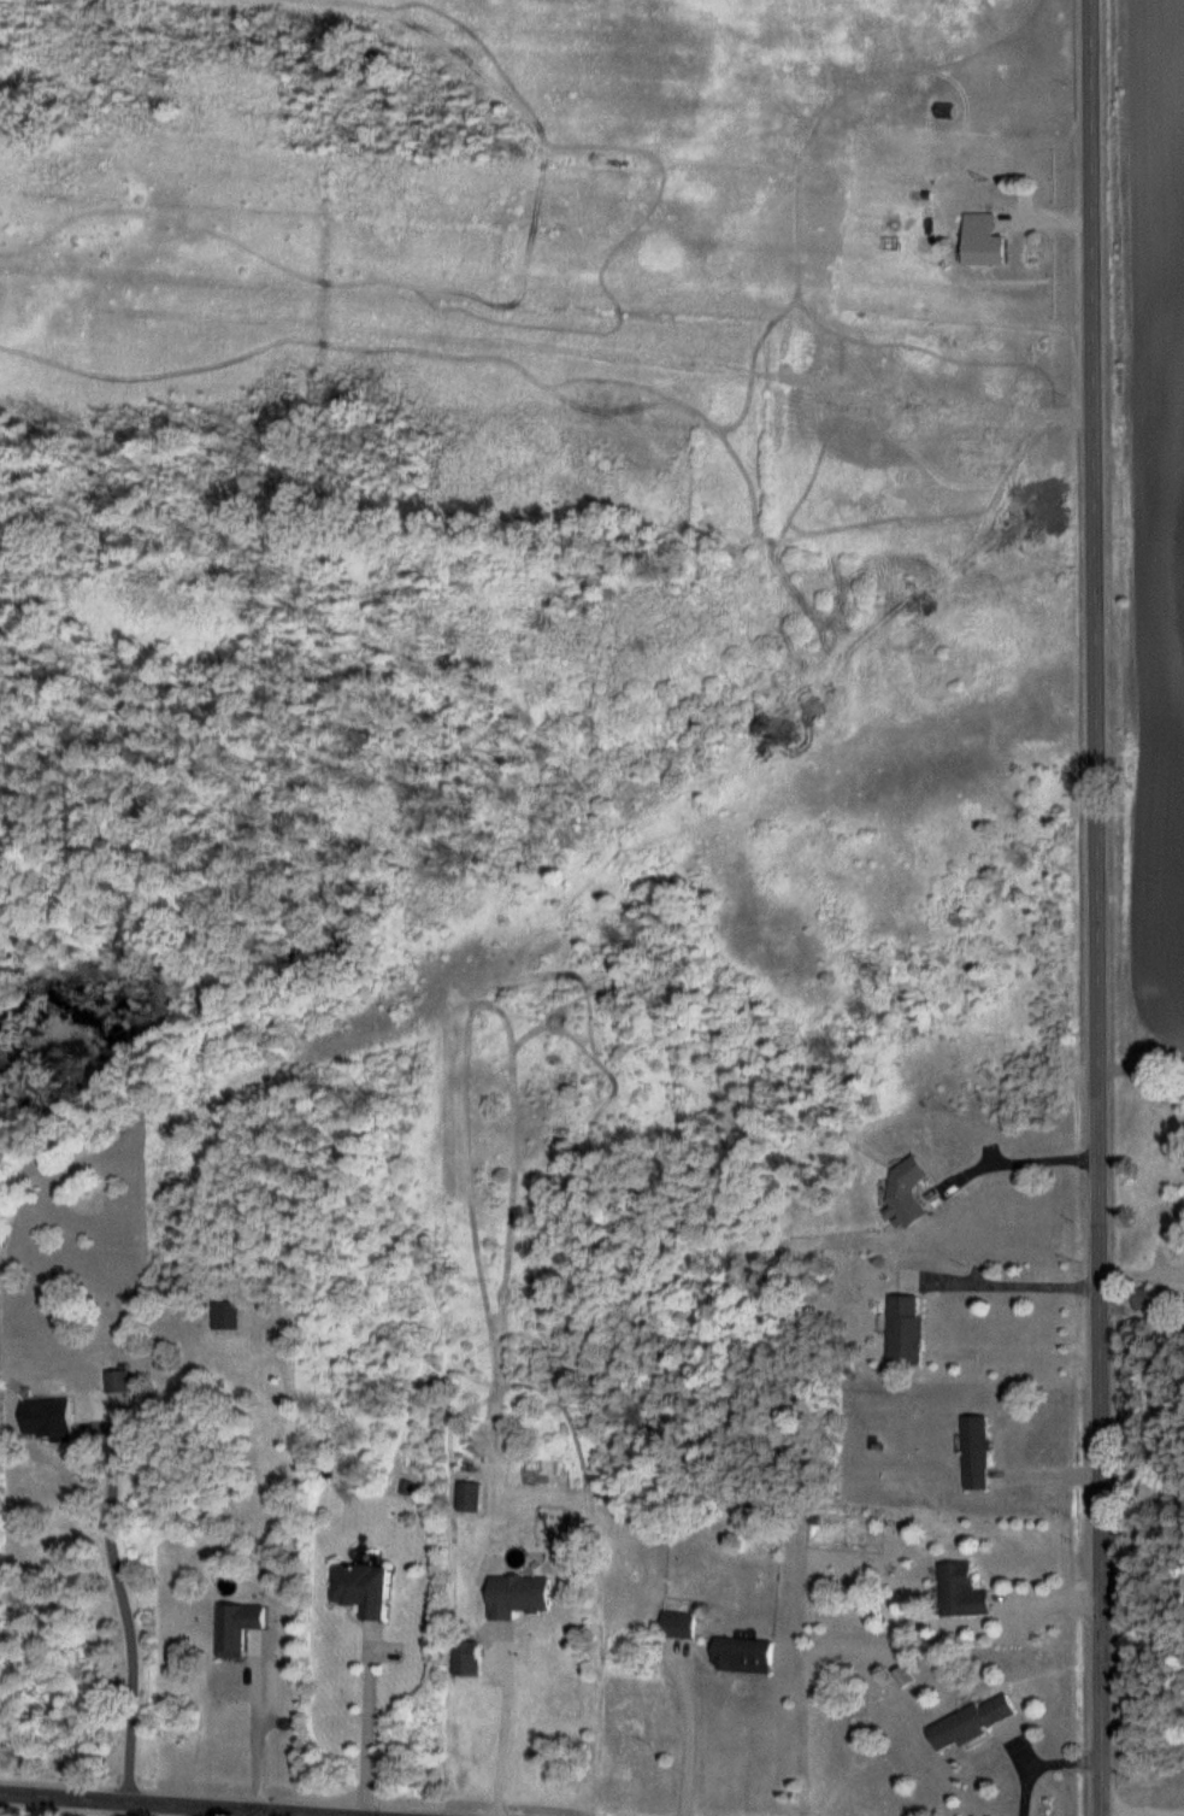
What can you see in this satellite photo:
building: (983, 241)
road: (1092, 907)
road: (1018, 1159)
building: (905, 1191)
building: (1171, 1216)
road: (1141, 1275)
road: (1014, 1283)
building: (1151, 1299)
building: (225, 1317)
building: (905, 1332)
building: (116, 1382)
building: (46, 1420)
building: (976, 1454)
building: (469, 1498)
park: (1142, 1557)
building: (360, 1591)
building: (960, 1592)
building: (517, 1597)
road: (141, 1612)
building: (677, 1626)
building: (742, 1656)
building: (905, 1676)
road: (270, 1723)
building: (971, 1724)
road: (369, 1726)
road: (502, 1728)
road: (689, 1741)
road: (181, 1804)
road: (208, 1811)

